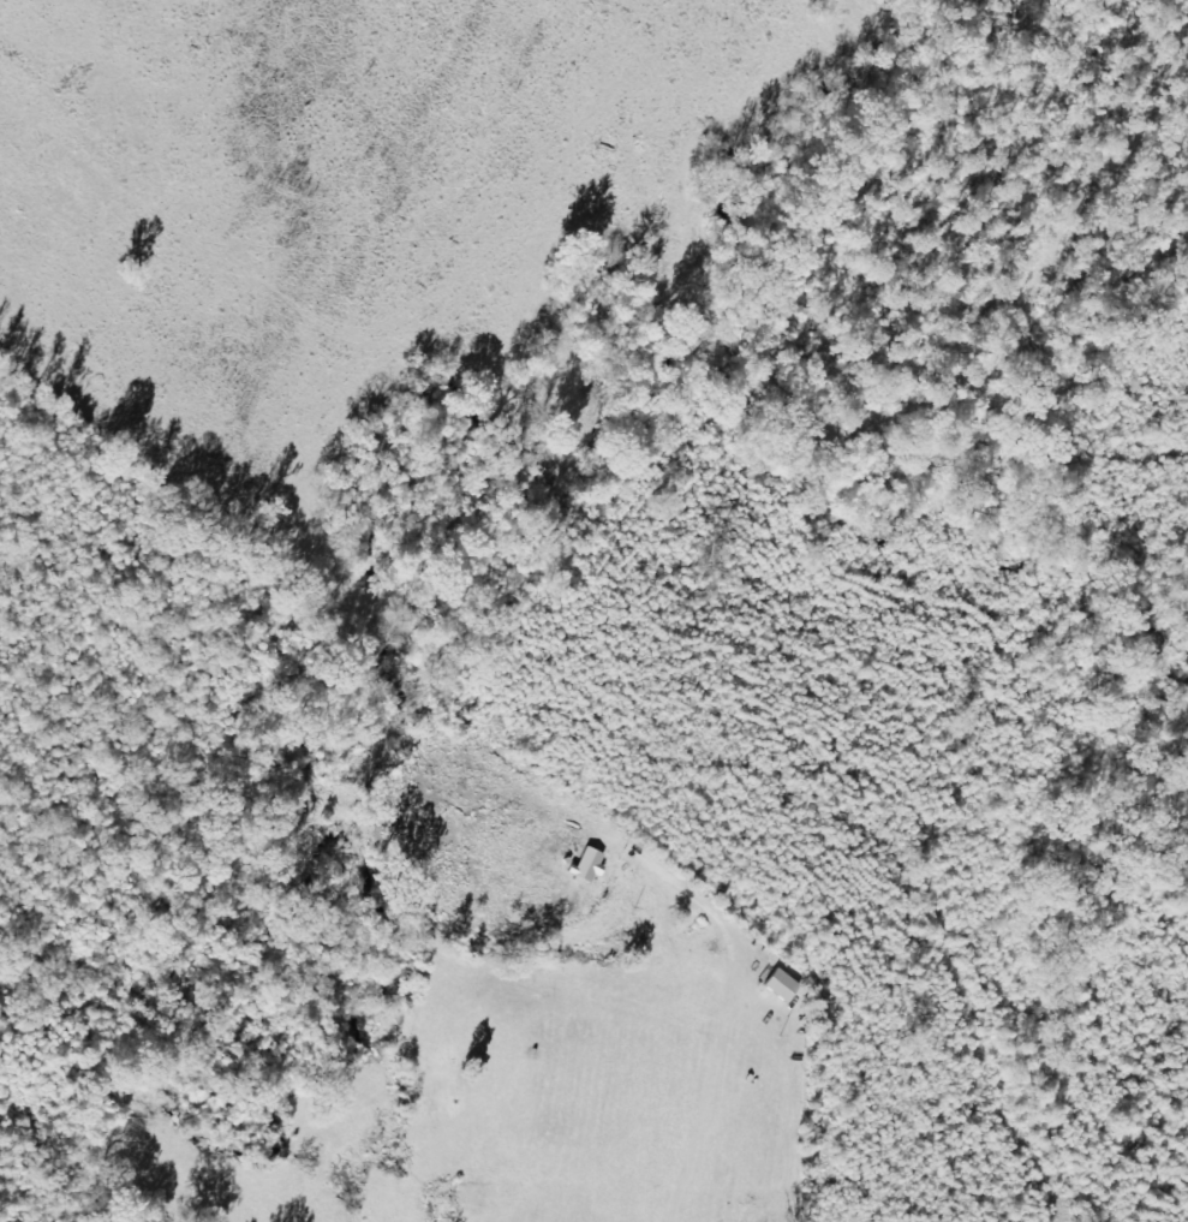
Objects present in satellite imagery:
road: (981, 1175)

